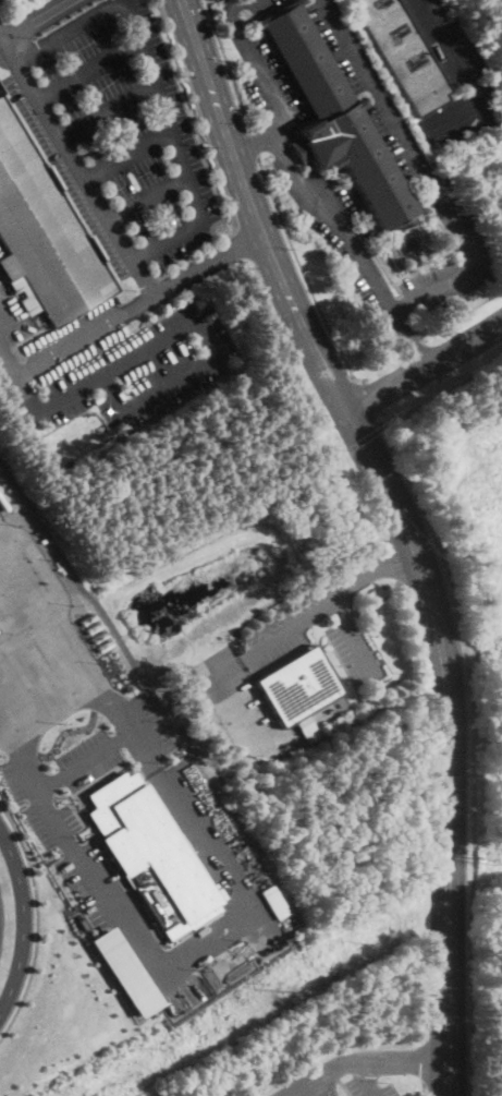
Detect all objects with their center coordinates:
parking lot: (258, 4)
road: (36, 20)
road: (2, 35)
parking lot: (342, 44)
building: (401, 53)
road: (226, 64)
road: (256, 64)
road: (88, 69)
road: (461, 73)
parking lot: (450, 75)
parking lot: (268, 79)
road: (156, 86)
road: (105, 107)
building: (334, 119)
parking lot: (117, 132)
road: (254, 144)
building: (293, 150)
road: (126, 155)
road: (423, 173)
road: (146, 197)
road: (252, 210)
road: (107, 221)
road: (343, 226)
building: (42, 232)
parking lot: (345, 237)
road: (303, 273)
road: (138, 303)
road: (183, 329)
road: (57, 351)
parking lot: (130, 370)
road: (425, 370)
road: (369, 399)
building: (28, 422)
road: (392, 562)
road: (370, 569)
road: (378, 601)
road: (36, 619)
road: (291, 627)
road: (415, 631)
road: (354, 638)
building: (297, 686)
road: (44, 698)
road: (476, 743)
road: (446, 744)
road: (82, 758)
building: (150, 854)
road: (23, 922)
road: (37, 922)
road: (205, 954)
building: (124, 971)
road: (425, 1022)
road: (424, 1060)
road: (358, 1061)
road: (369, 1077)
parking lot: (368, 1087)
road: (423, 1088)

